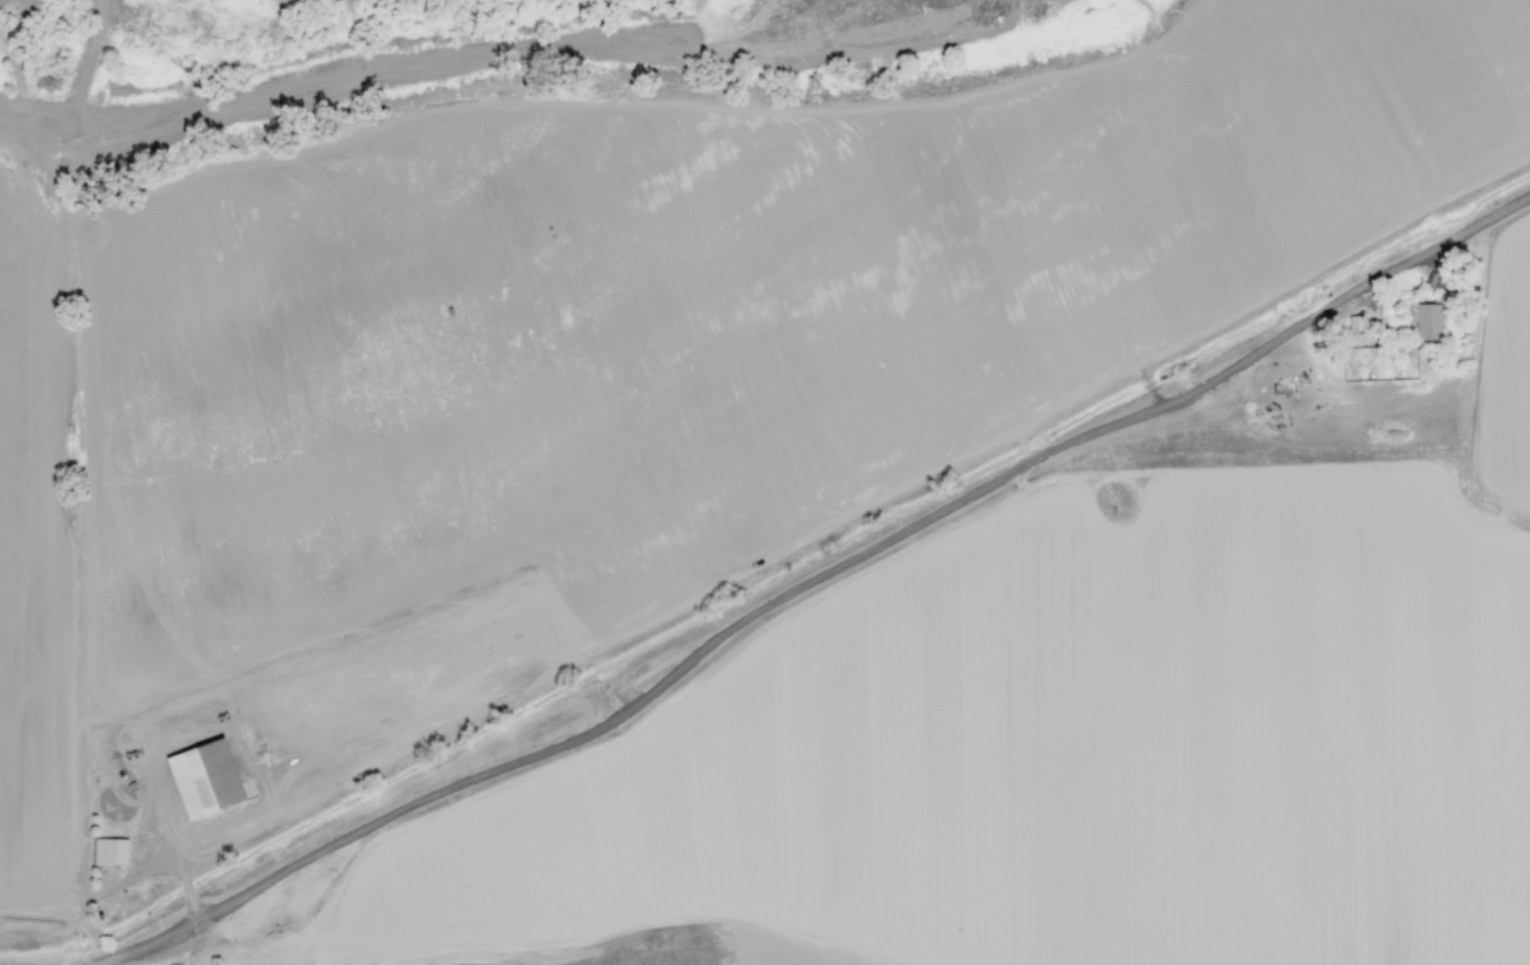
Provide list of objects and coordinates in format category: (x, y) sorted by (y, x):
road: (1342, 297)
building: (1424, 321)
building: (1279, 389)
road: (680, 665)
building: (198, 778)
building: (107, 851)
road: (142, 944)

